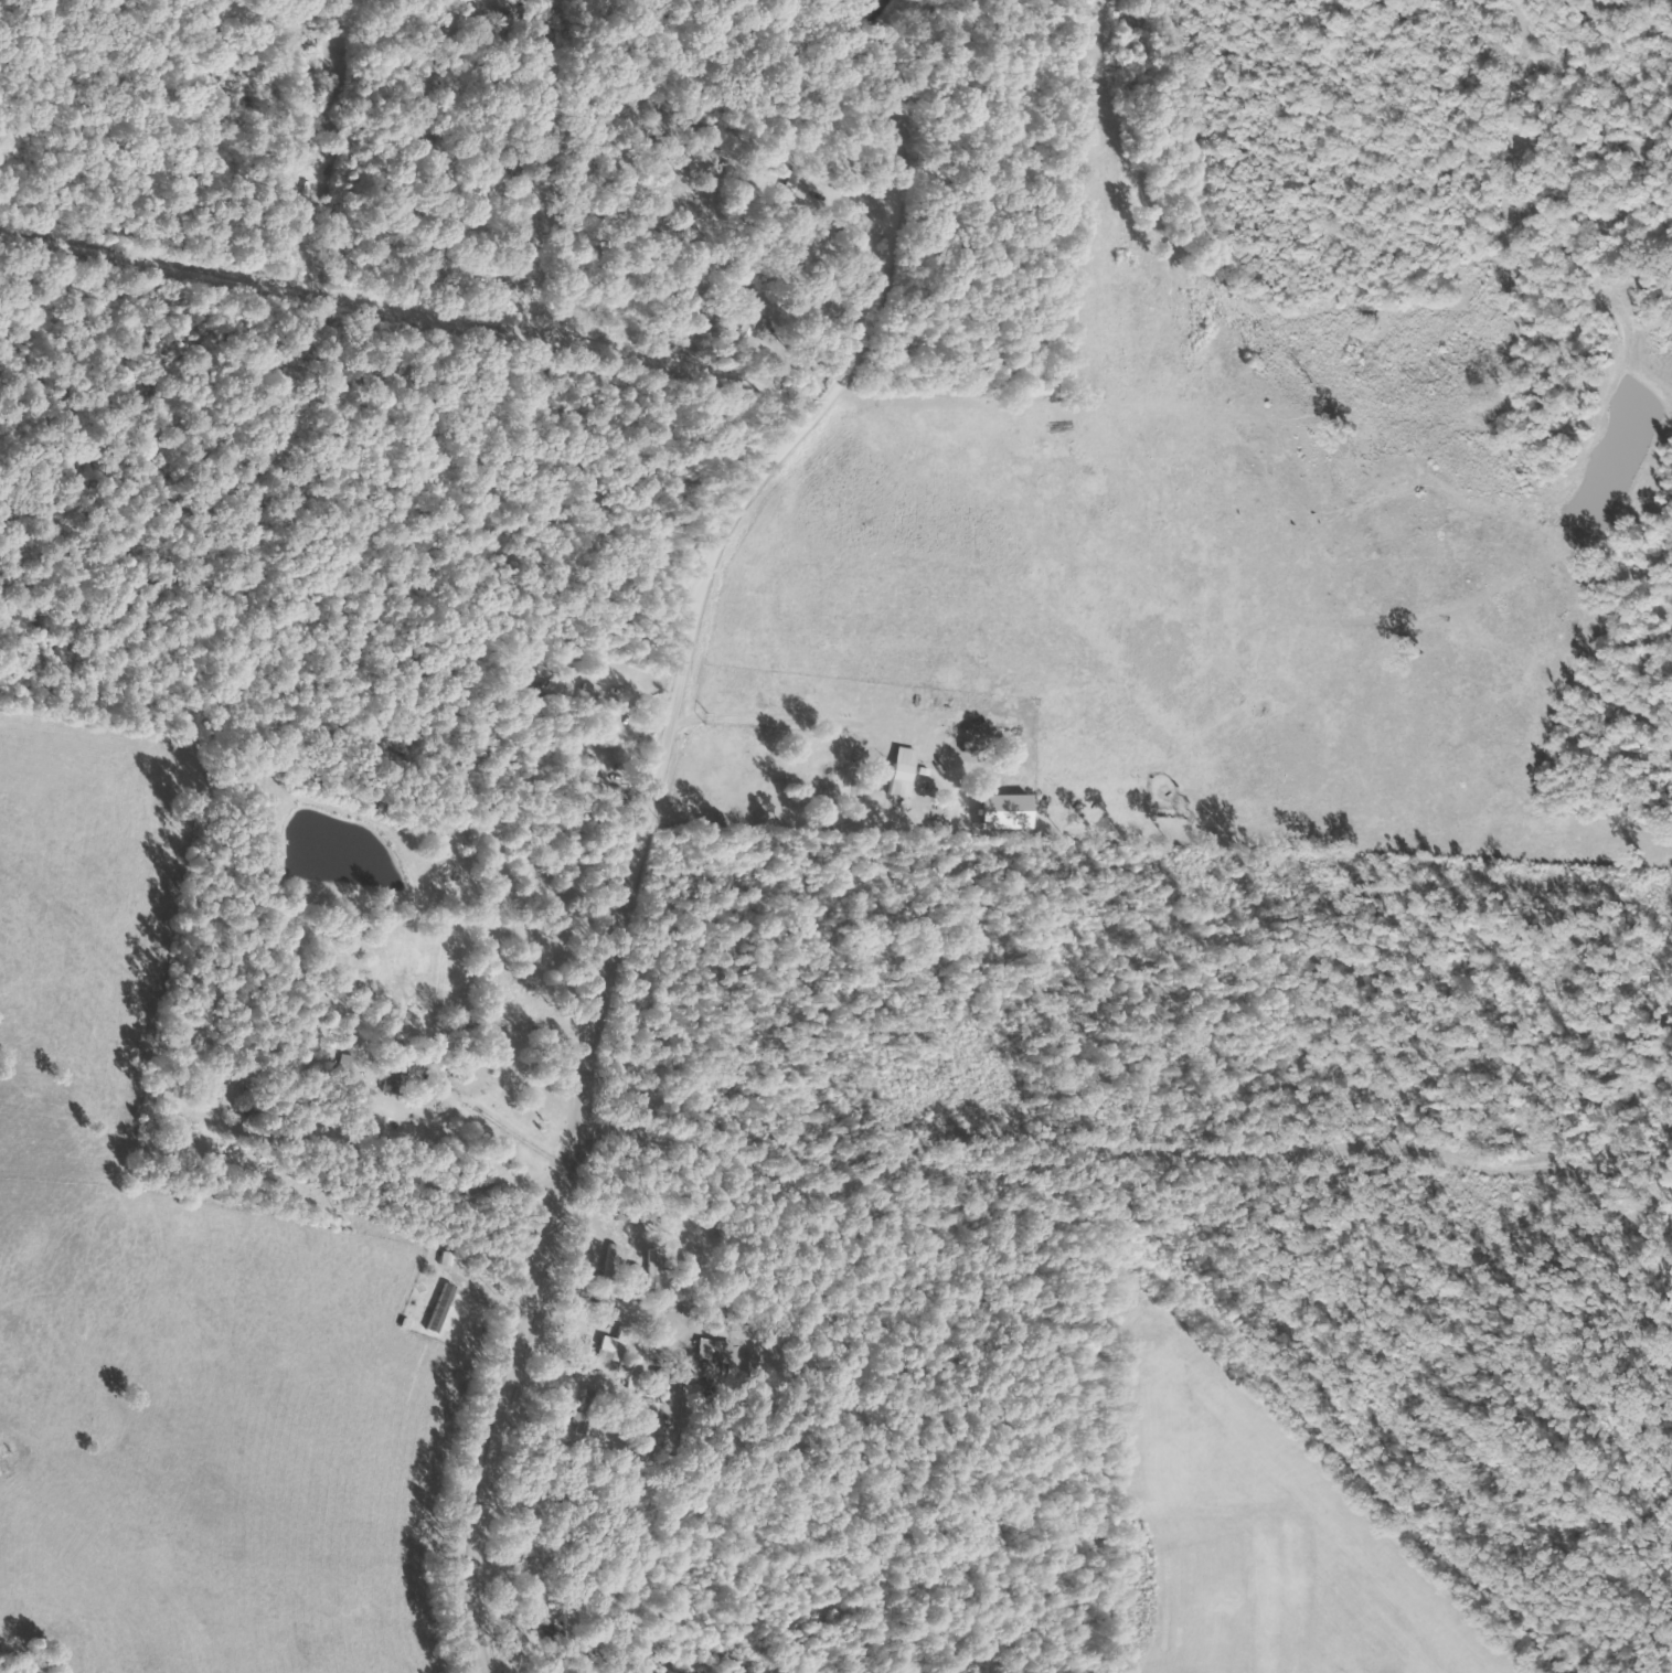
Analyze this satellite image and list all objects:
road: (334, 753)
building: (909, 774)
building: (1014, 812)
road: (652, 816)
building: (402, 1069)
road: (1135, 1152)
road: (270, 1283)
building: (446, 1309)
building: (716, 1351)

